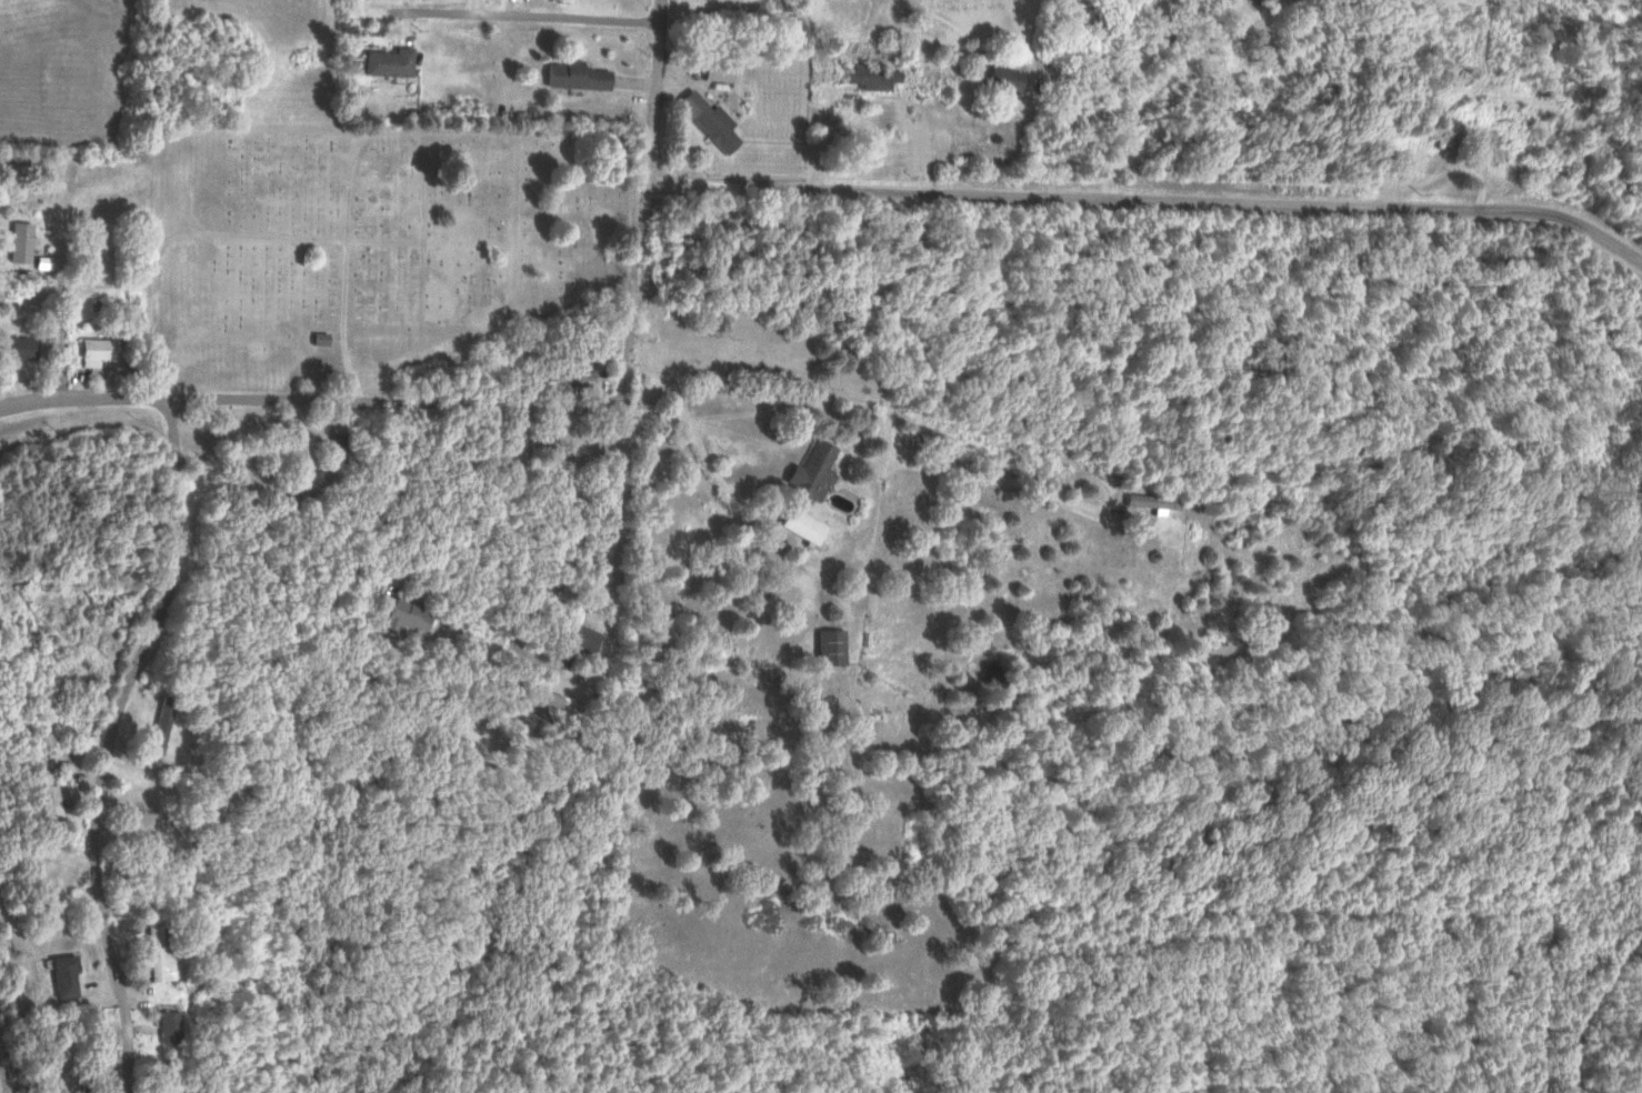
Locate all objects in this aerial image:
building: (384, 61)
building: (711, 68)
building: (571, 74)
building: (863, 77)
building: (1000, 77)
road: (1148, 87)
building: (703, 120)
road: (1144, 199)
road: (629, 202)
road: (252, 233)
building: (16, 241)
park: (367, 244)
building: (93, 247)
building: (39, 263)
building: (316, 338)
building: (13, 347)
building: (91, 350)
road: (69, 398)
road: (360, 398)
road: (597, 404)
road: (697, 439)
building: (333, 444)
building: (296, 451)
building: (807, 470)
building: (1147, 501)
road: (602, 512)
building: (798, 524)
road: (407, 530)
building: (397, 613)
building: (570, 634)
building: (827, 646)
building: (543, 705)
building: (156, 728)
road: (106, 741)
building: (44, 805)
building: (48, 893)
building: (152, 954)
building: (59, 975)
building: (162, 1026)

